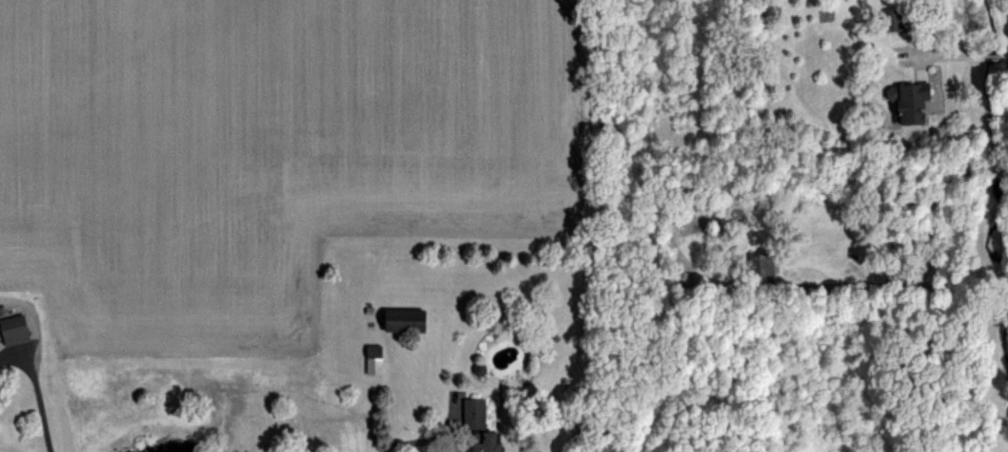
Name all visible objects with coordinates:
building: (893, 20)
road: (963, 52)
building: (903, 98)
building: (919, 102)
crop: (268, 147)
road: (926, 259)
building: (767, 264)
building: (398, 315)
building: (11, 325)
building: (370, 357)
building: (378, 359)
road: (39, 404)
building: (470, 411)
road: (415, 440)
building: (479, 443)

